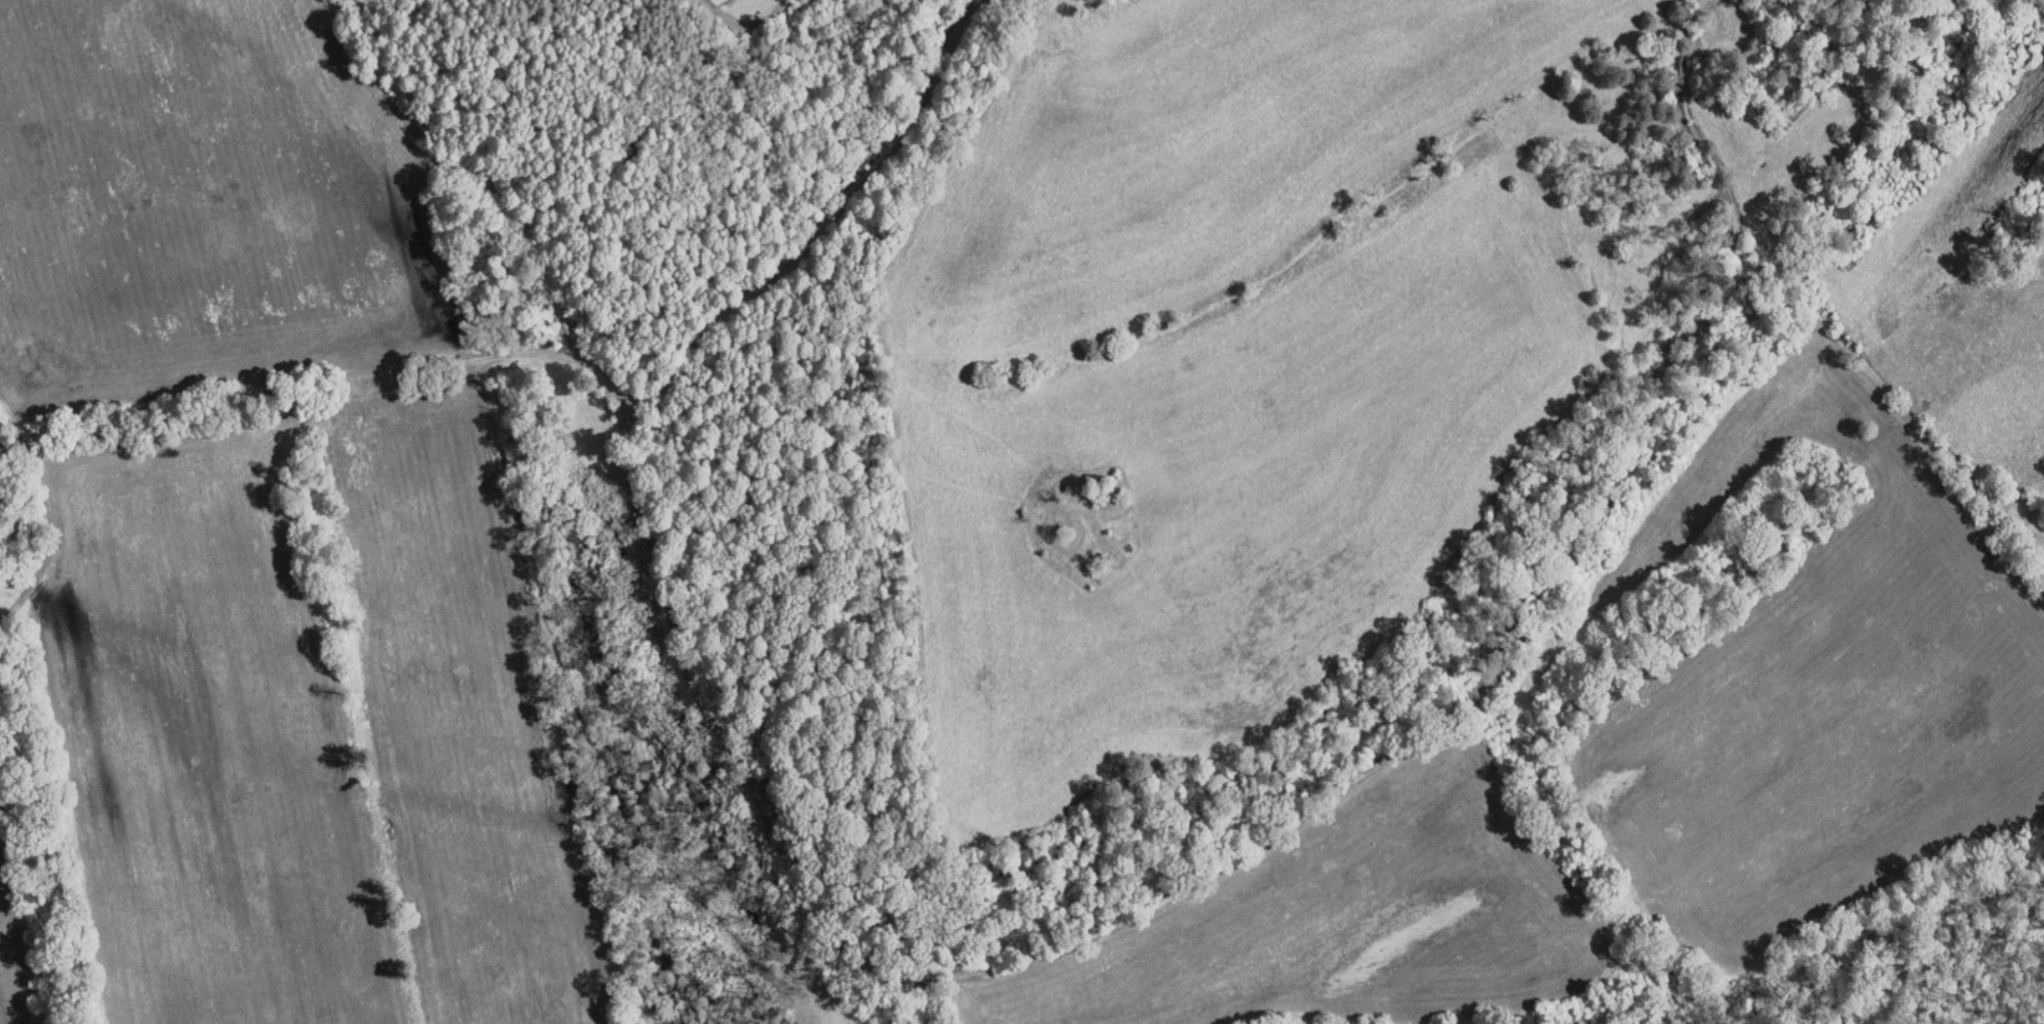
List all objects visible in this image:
road: (744, 25)
road: (1683, 156)
road: (797, 232)
road: (273, 403)
road: (16, 496)
road: (1067, 946)

